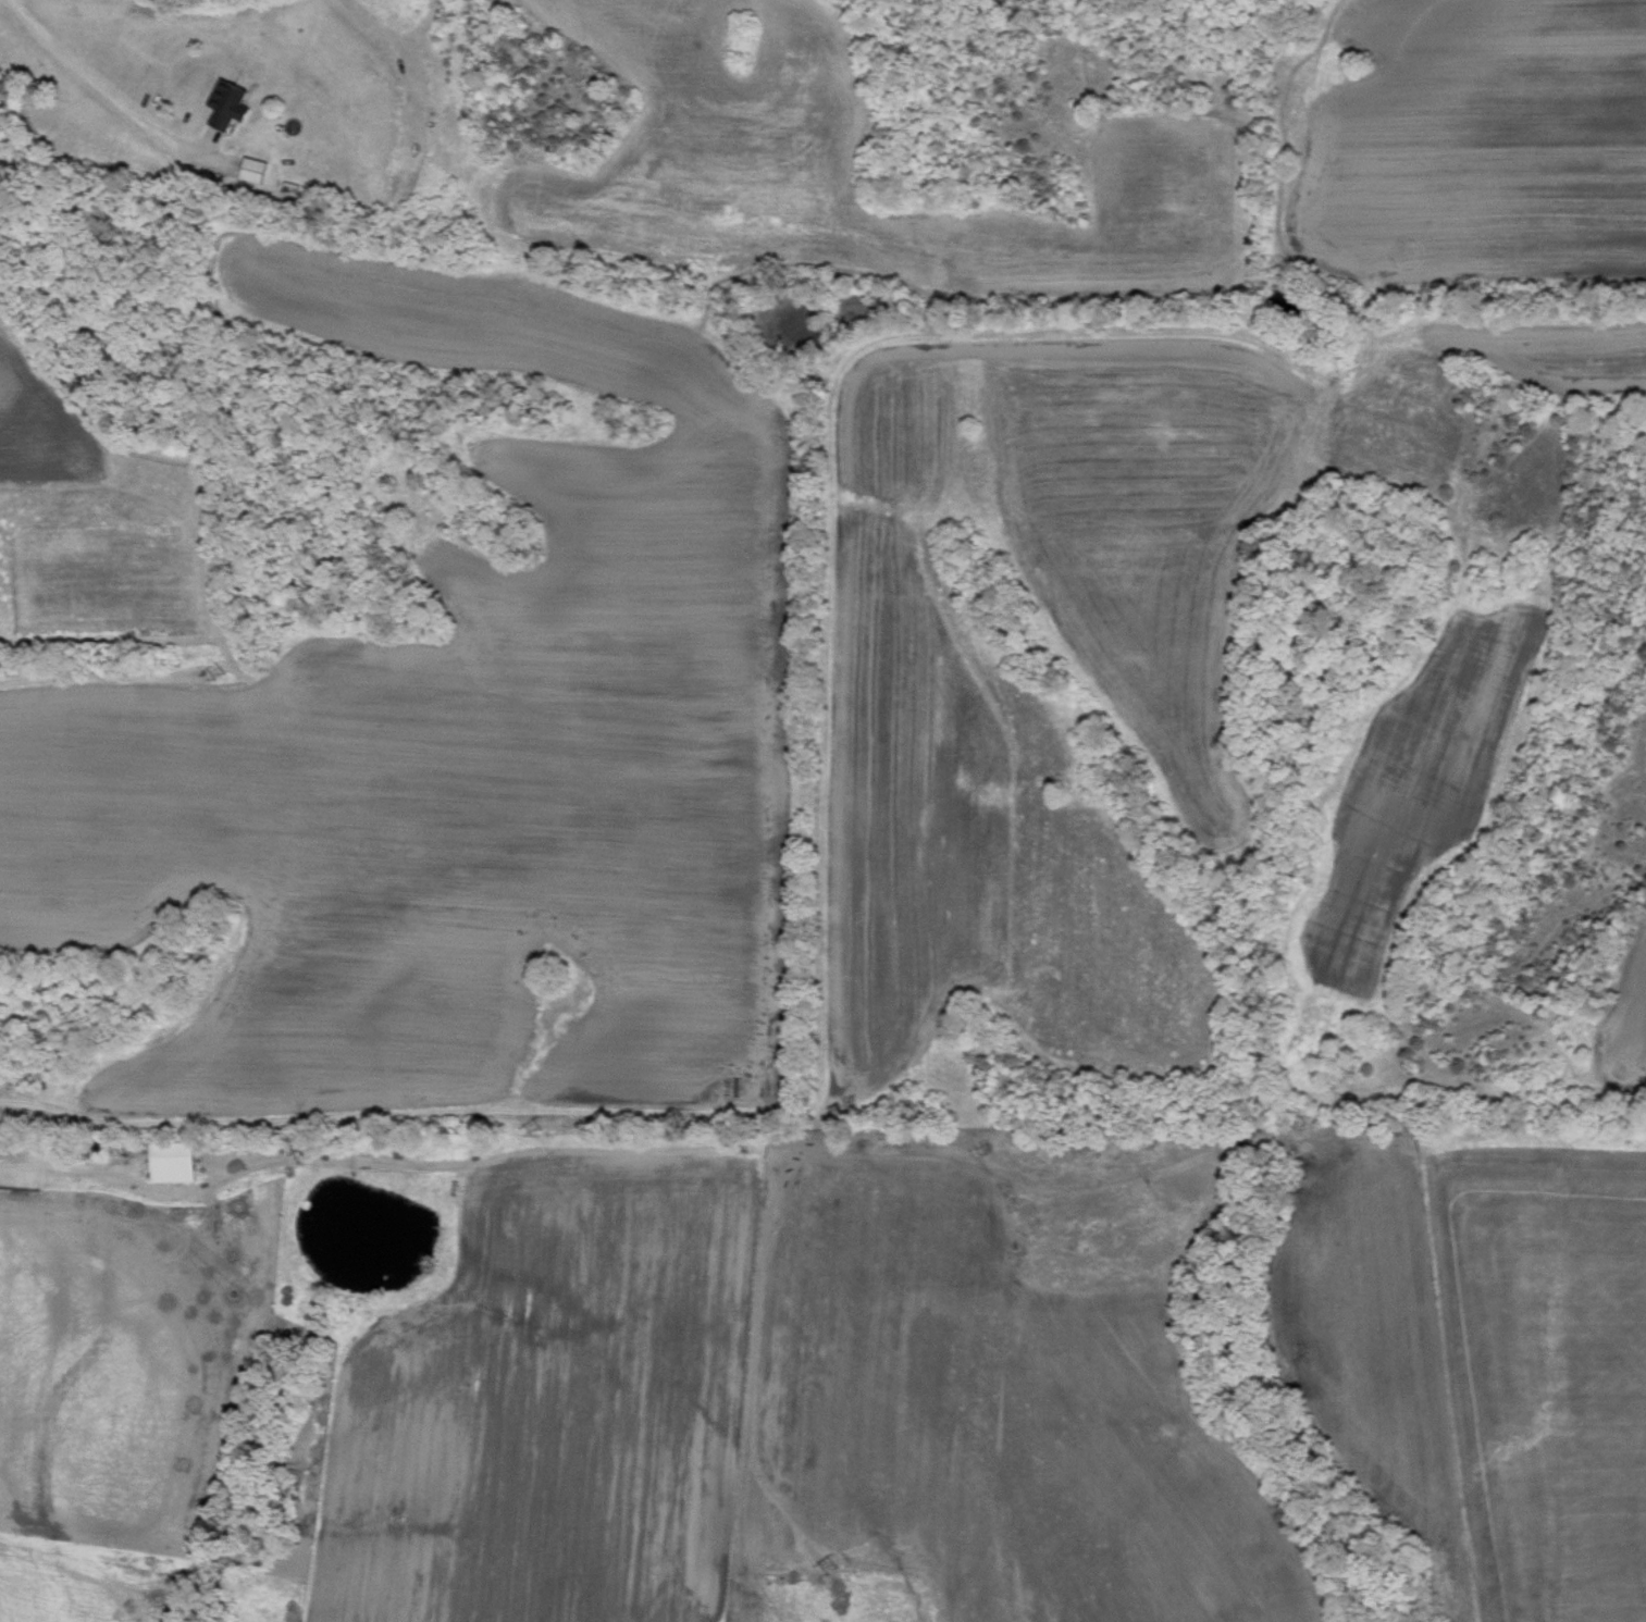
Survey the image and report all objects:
road: (97, 85)
building: (226, 102)
building: (251, 168)
road: (104, 1120)
road: (62, 1164)

